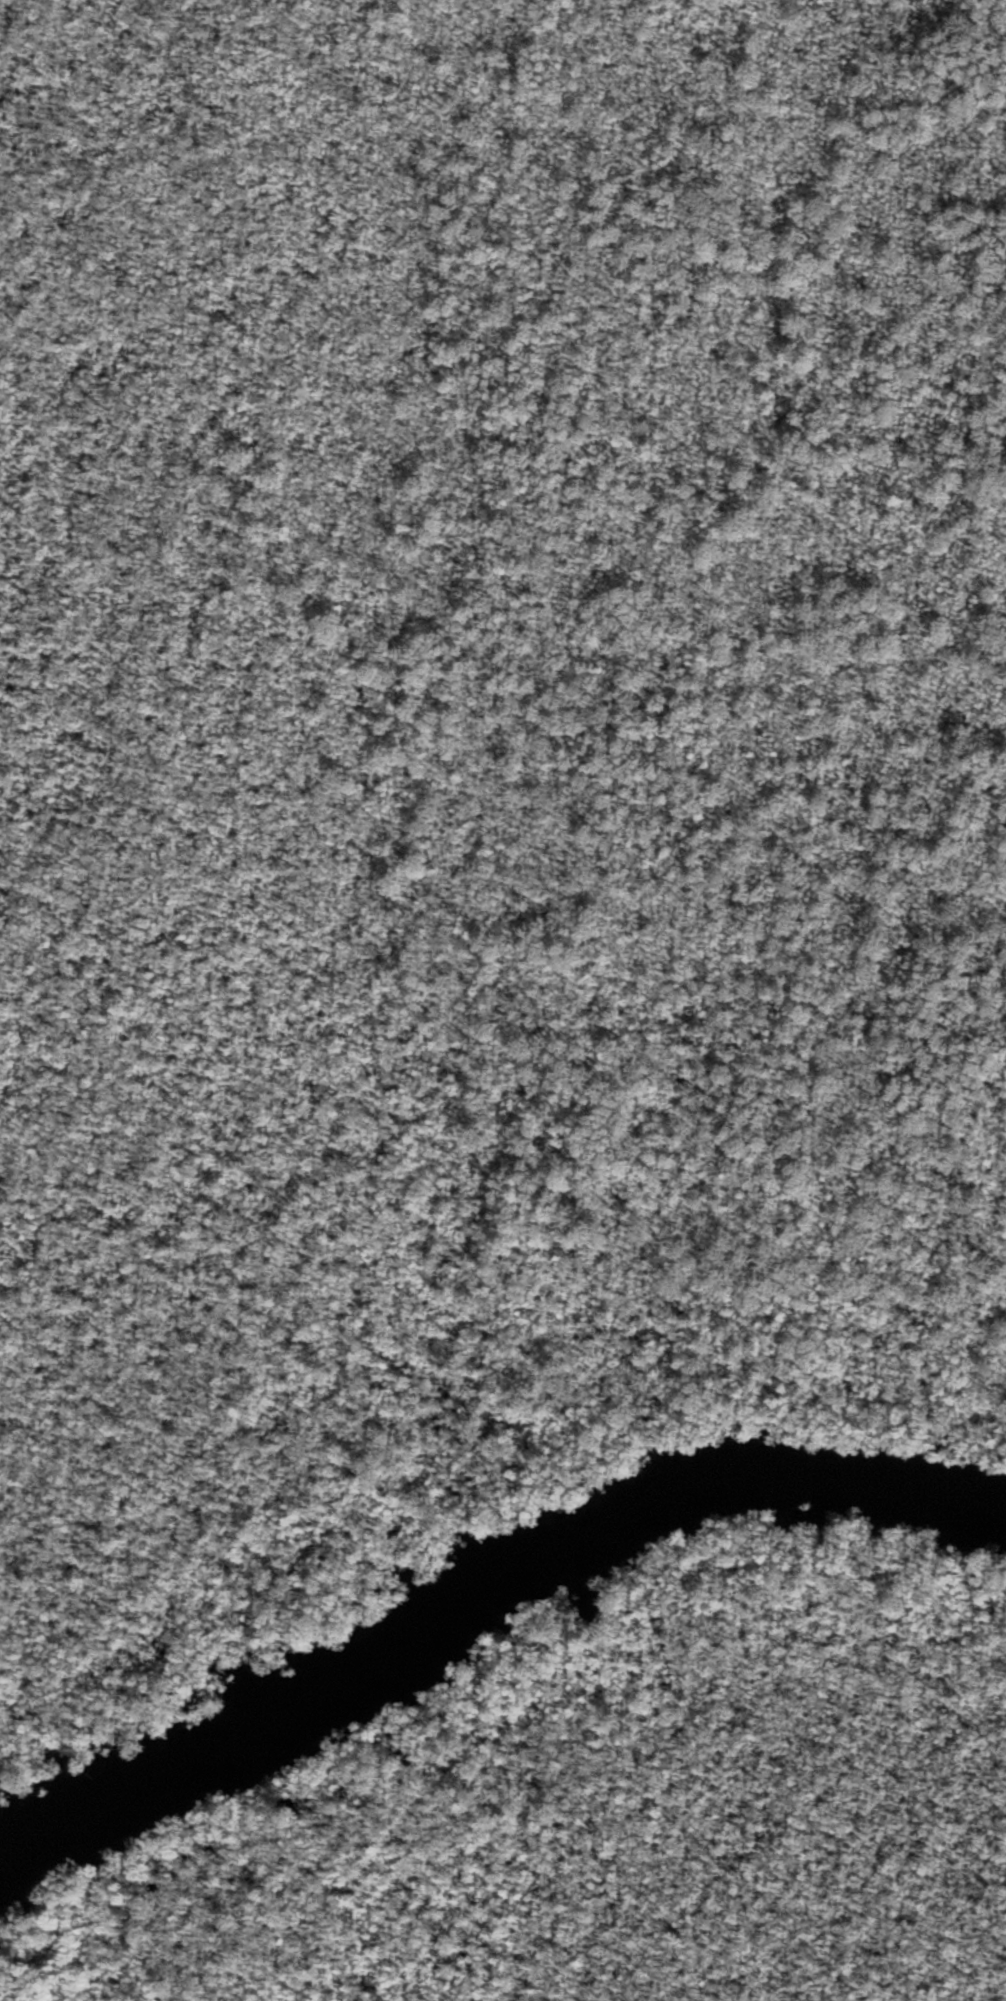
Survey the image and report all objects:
river: (486, 1590)

